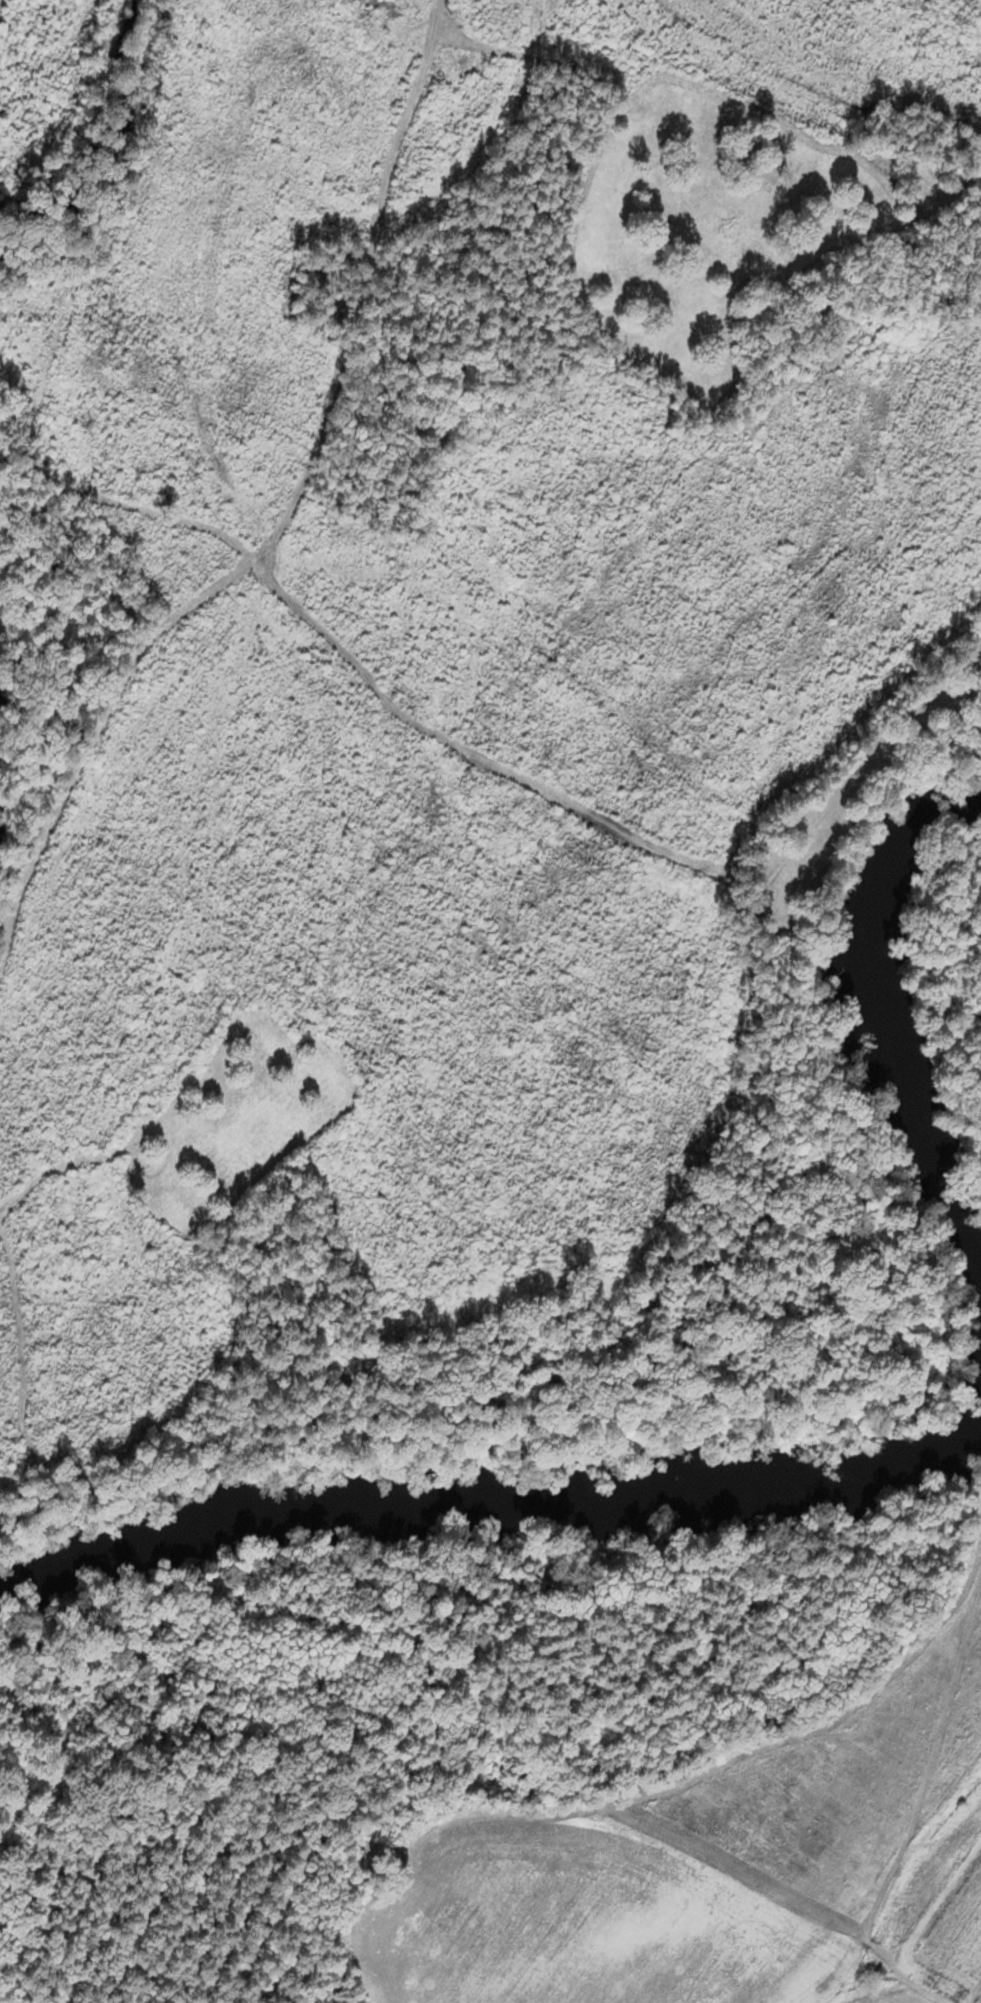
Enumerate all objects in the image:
river: (831, 1463)

